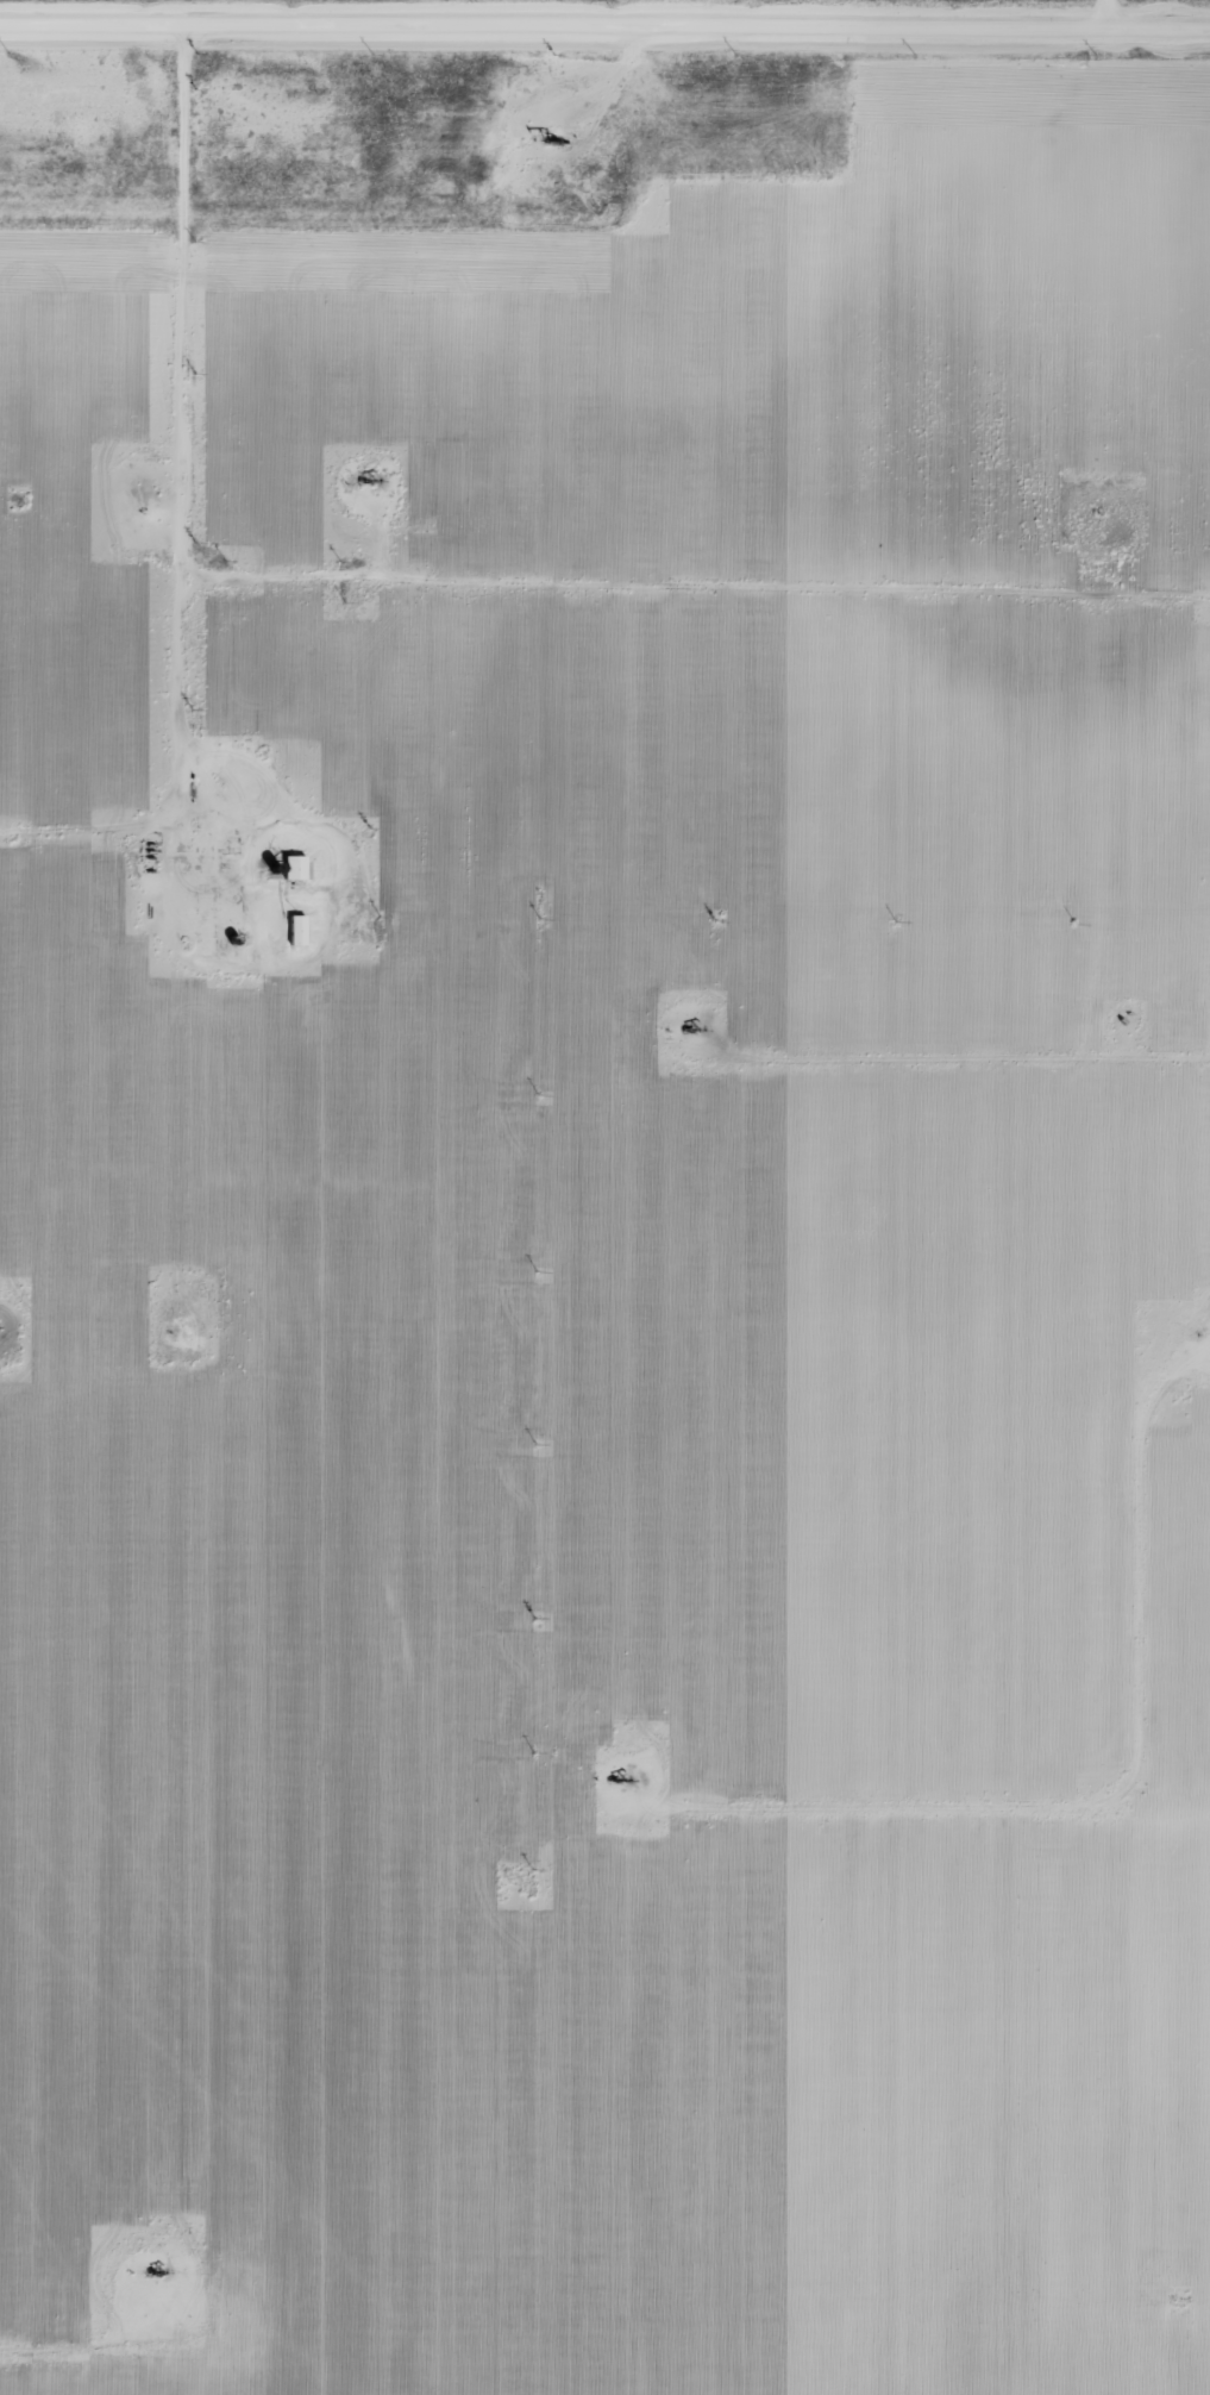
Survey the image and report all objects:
road: (1076, 0)
road: (1128, 0)
petroleum well: (358, 474)
road: (470, 512)
petroleum well: (688, 1027)
petroleum well: (628, 1780)
petroleum well: (156, 2269)

